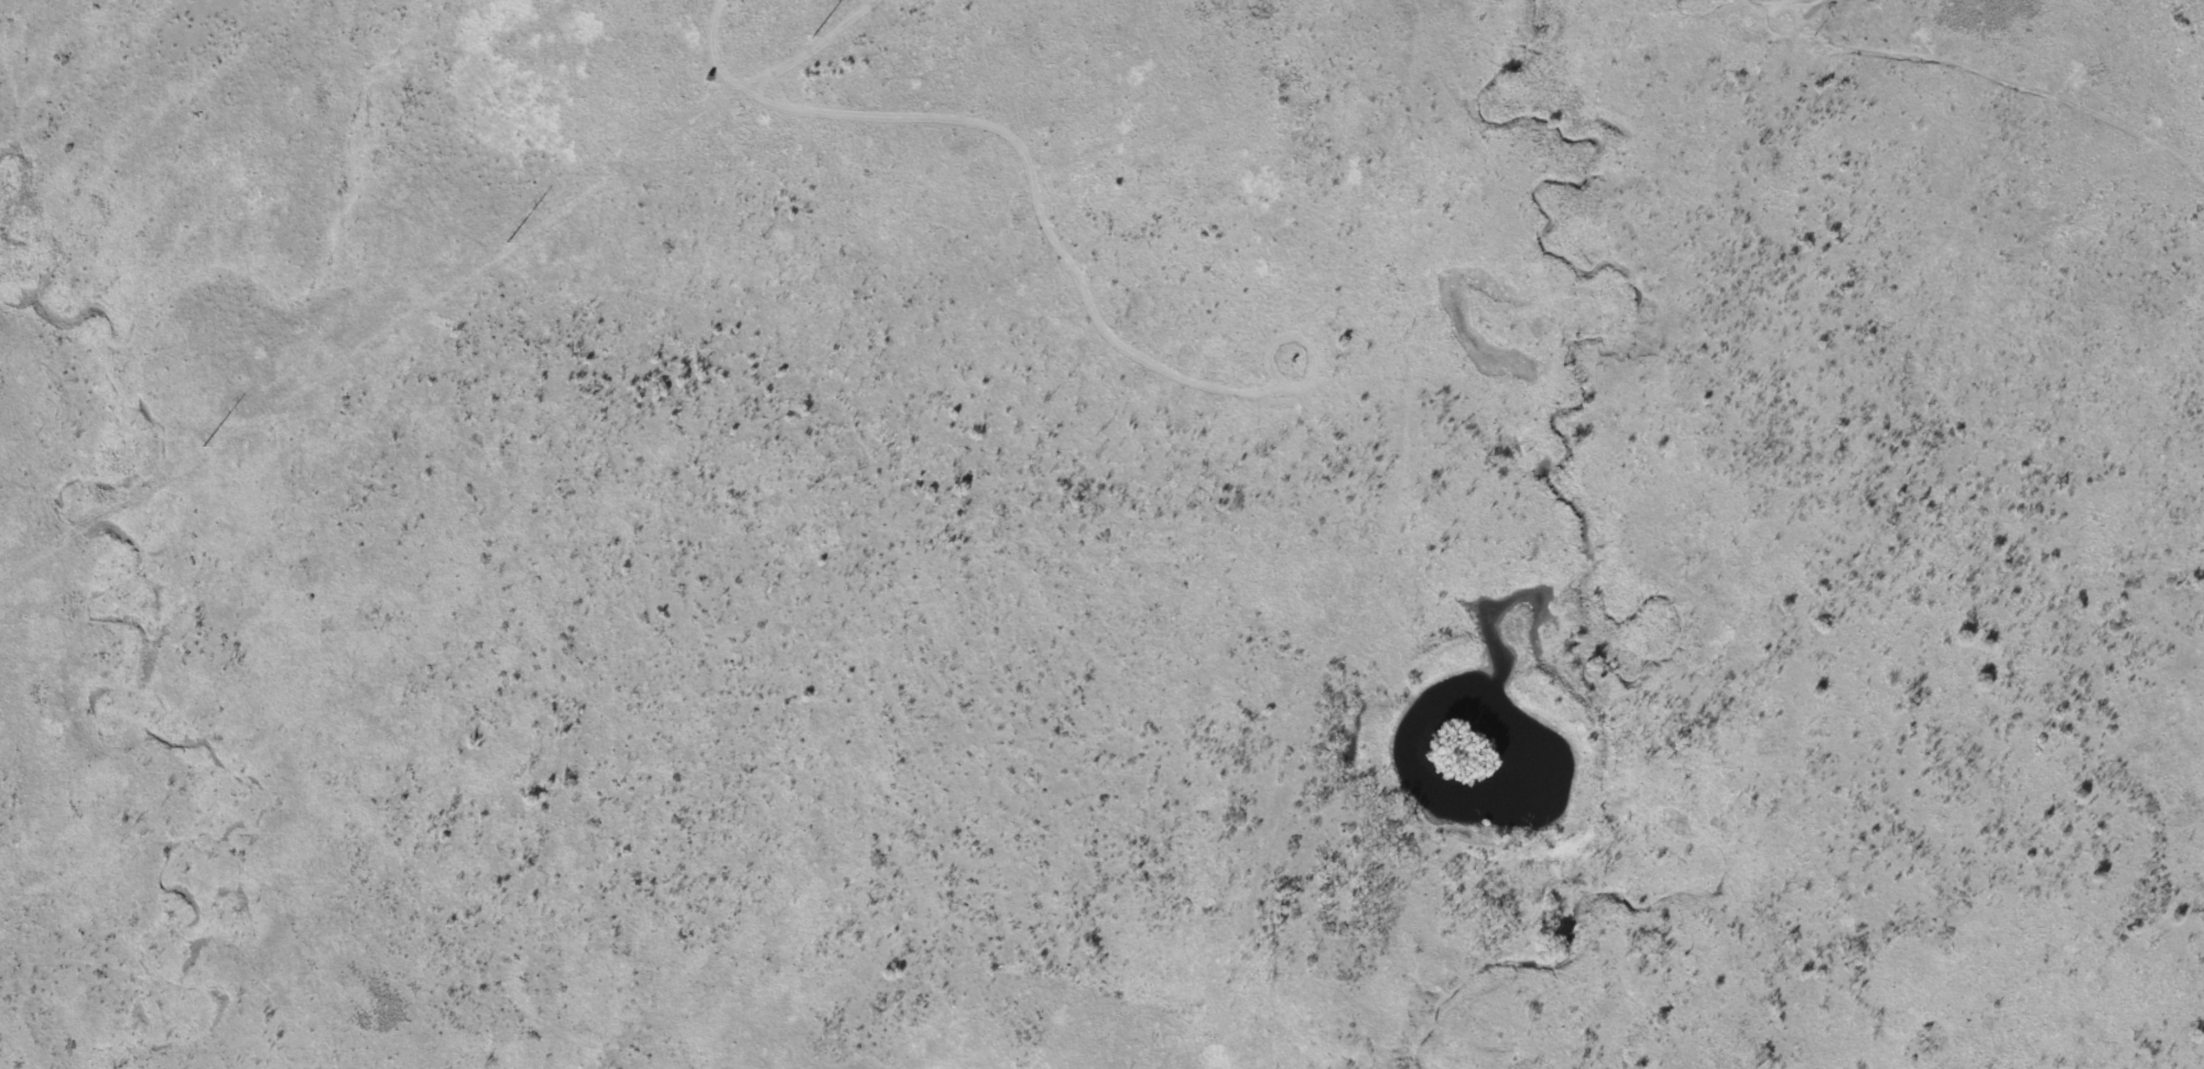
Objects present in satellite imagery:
road: (1902, 31)

